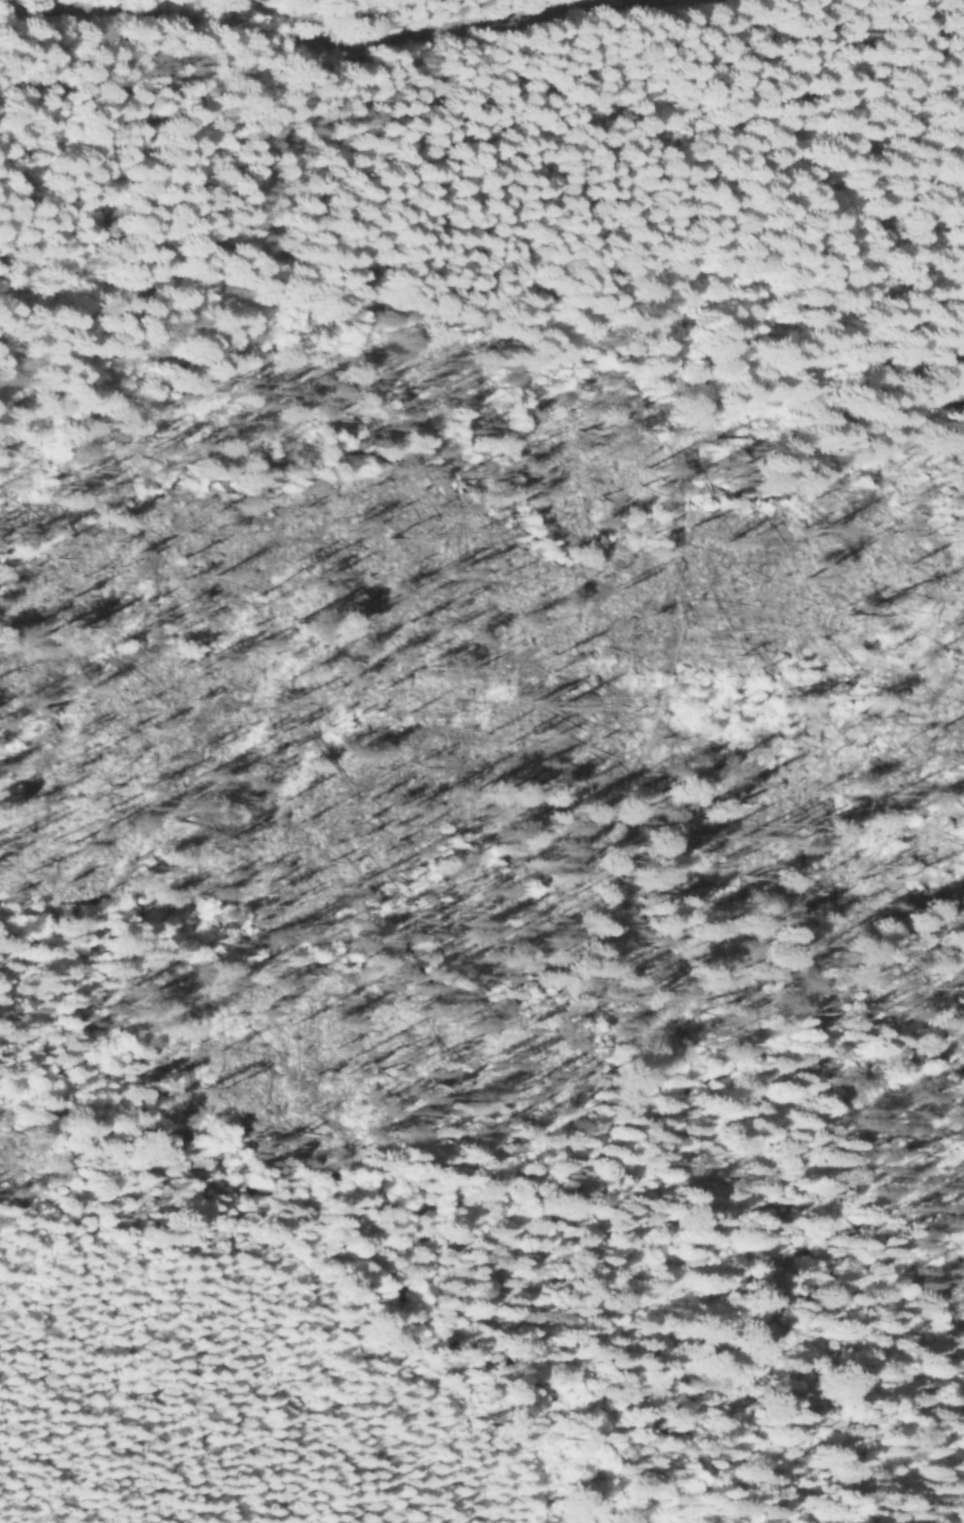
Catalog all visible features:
road: (335, 43)

